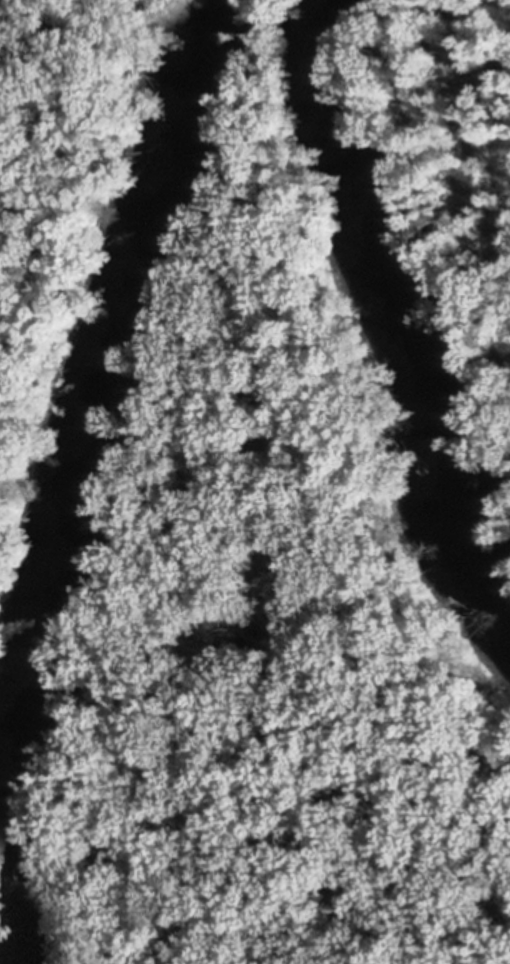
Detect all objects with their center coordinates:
river: (387, 318)
river: (91, 472)
river: (1, 961)

